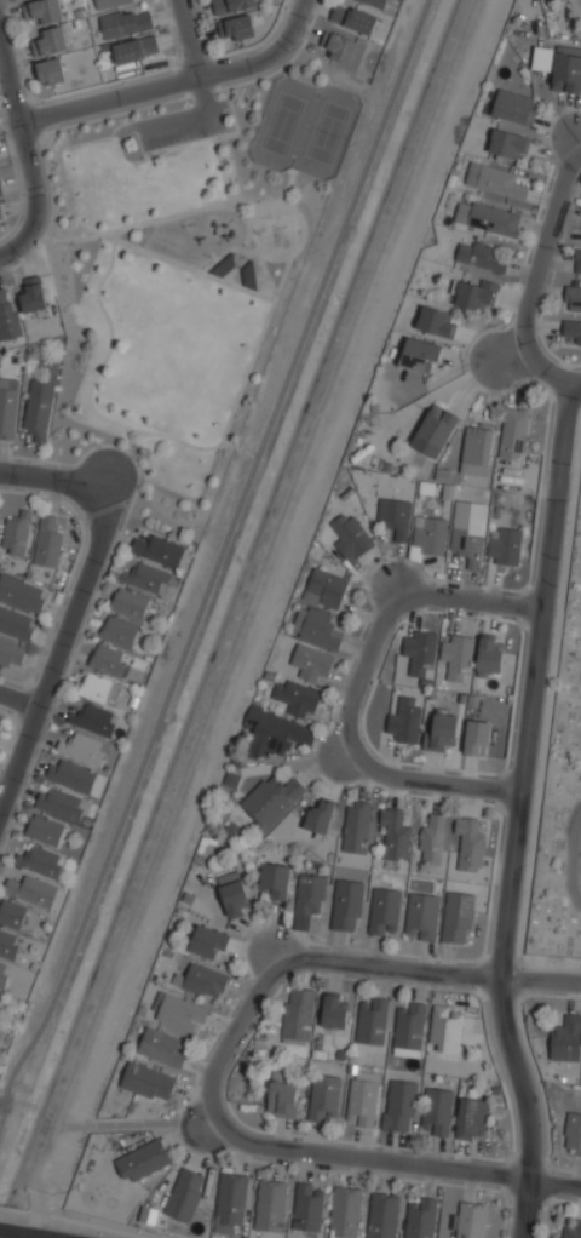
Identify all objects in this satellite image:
building: (110, 2)
building: (374, 2)
building: (232, 5)
building: (42, 11)
building: (352, 18)
building: (126, 21)
building: (238, 27)
road: (190, 38)
building: (50, 40)
building: (136, 47)
building: (345, 48)
road: (283, 62)
building: (566, 69)
building: (52, 70)
road: (177, 81)
road: (228, 85)
building: (513, 107)
road: (192, 114)
road: (65, 125)
park: (304, 126)
parking lot: (182, 132)
road: (212, 137)
road: (23, 139)
road: (579, 139)
building: (507, 144)
building: (494, 180)
road: (287, 187)
building: (0, 190)
road: (243, 200)
road: (209, 206)
road: (295, 208)
road: (240, 212)
building: (1, 217)
building: (487, 218)
park: (276, 229)
road: (13, 246)
building: (479, 256)
building: (577, 259)
road: (15, 264)
park: (184, 268)
road: (536, 269)
road: (265, 274)
road: (283, 275)
building: (33, 292)
road: (265, 294)
building: (476, 294)
building: (573, 298)
building: (7, 315)
road: (105, 317)
building: (435, 322)
building: (571, 332)
road: (511, 351)
building: (419, 355)
road: (575, 382)
building: (7, 407)
building: (38, 417)
building: (435, 430)
building: (513, 434)
road: (138, 436)
road: (189, 443)
building: (477, 449)
road: (51, 476)
building: (395, 517)
building: (468, 532)
building: (17, 533)
building: (349, 535)
building: (427, 537)
building: (47, 543)
building: (504, 545)
building: (159, 550)
road: (215, 562)
building: (142, 575)
road: (98, 589)
building: (324, 589)
building: (21, 592)
building: (130, 603)
building: (16, 624)
building: (316, 626)
building: (120, 631)
road: (62, 650)
building: (420, 652)
building: (489, 653)
building: (11, 654)
building: (456, 654)
building: (109, 660)
building: (312, 663)
road: (357, 684)
building: (96, 688)
building: (297, 698)
road: (21, 700)
building: (94, 720)
building: (404, 721)
building: (443, 730)
building: (277, 733)
building: (476, 737)
building: (82, 747)
building: (71, 776)
park: (563, 793)
building: (271, 799)
building: (62, 804)
road: (516, 810)
building: (320, 816)
building: (358, 827)
building: (45, 830)
building: (396, 832)
building: (432, 837)
building: (470, 843)
road: (570, 855)
building: (35, 876)
building: (275, 881)
building: (234, 895)
building: (309, 899)
building: (347, 905)
building: (385, 910)
building: (11, 912)
building: (421, 916)
building: (459, 917)
building: (209, 942)
building: (8, 944)
road: (445, 972)
building: (4, 974)
building: (205, 981)
building: (333, 1010)
building: (178, 1011)
building: (298, 1016)
building: (372, 1022)
building: (445, 1028)
building: (408, 1030)
building: (1, 1034)
building: (566, 1038)
road: (225, 1043)
building: (162, 1047)
building: (148, 1081)
road: (4, 1084)
building: (281, 1095)
building: (323, 1097)
building: (363, 1097)
road: (1, 1102)
building: (399, 1106)
building: (436, 1111)
building: (471, 1118)
road: (157, 1123)
building: (573, 1133)
building: (143, 1160)
road: (416, 1167)
building: (184, 1196)
building: (230, 1202)
building: (270, 1205)
building: (307, 1208)
building: (345, 1211)
building: (382, 1215)
building: (420, 1219)
building: (470, 1220)
building: (573, 1230)
road: (24, 1233)

